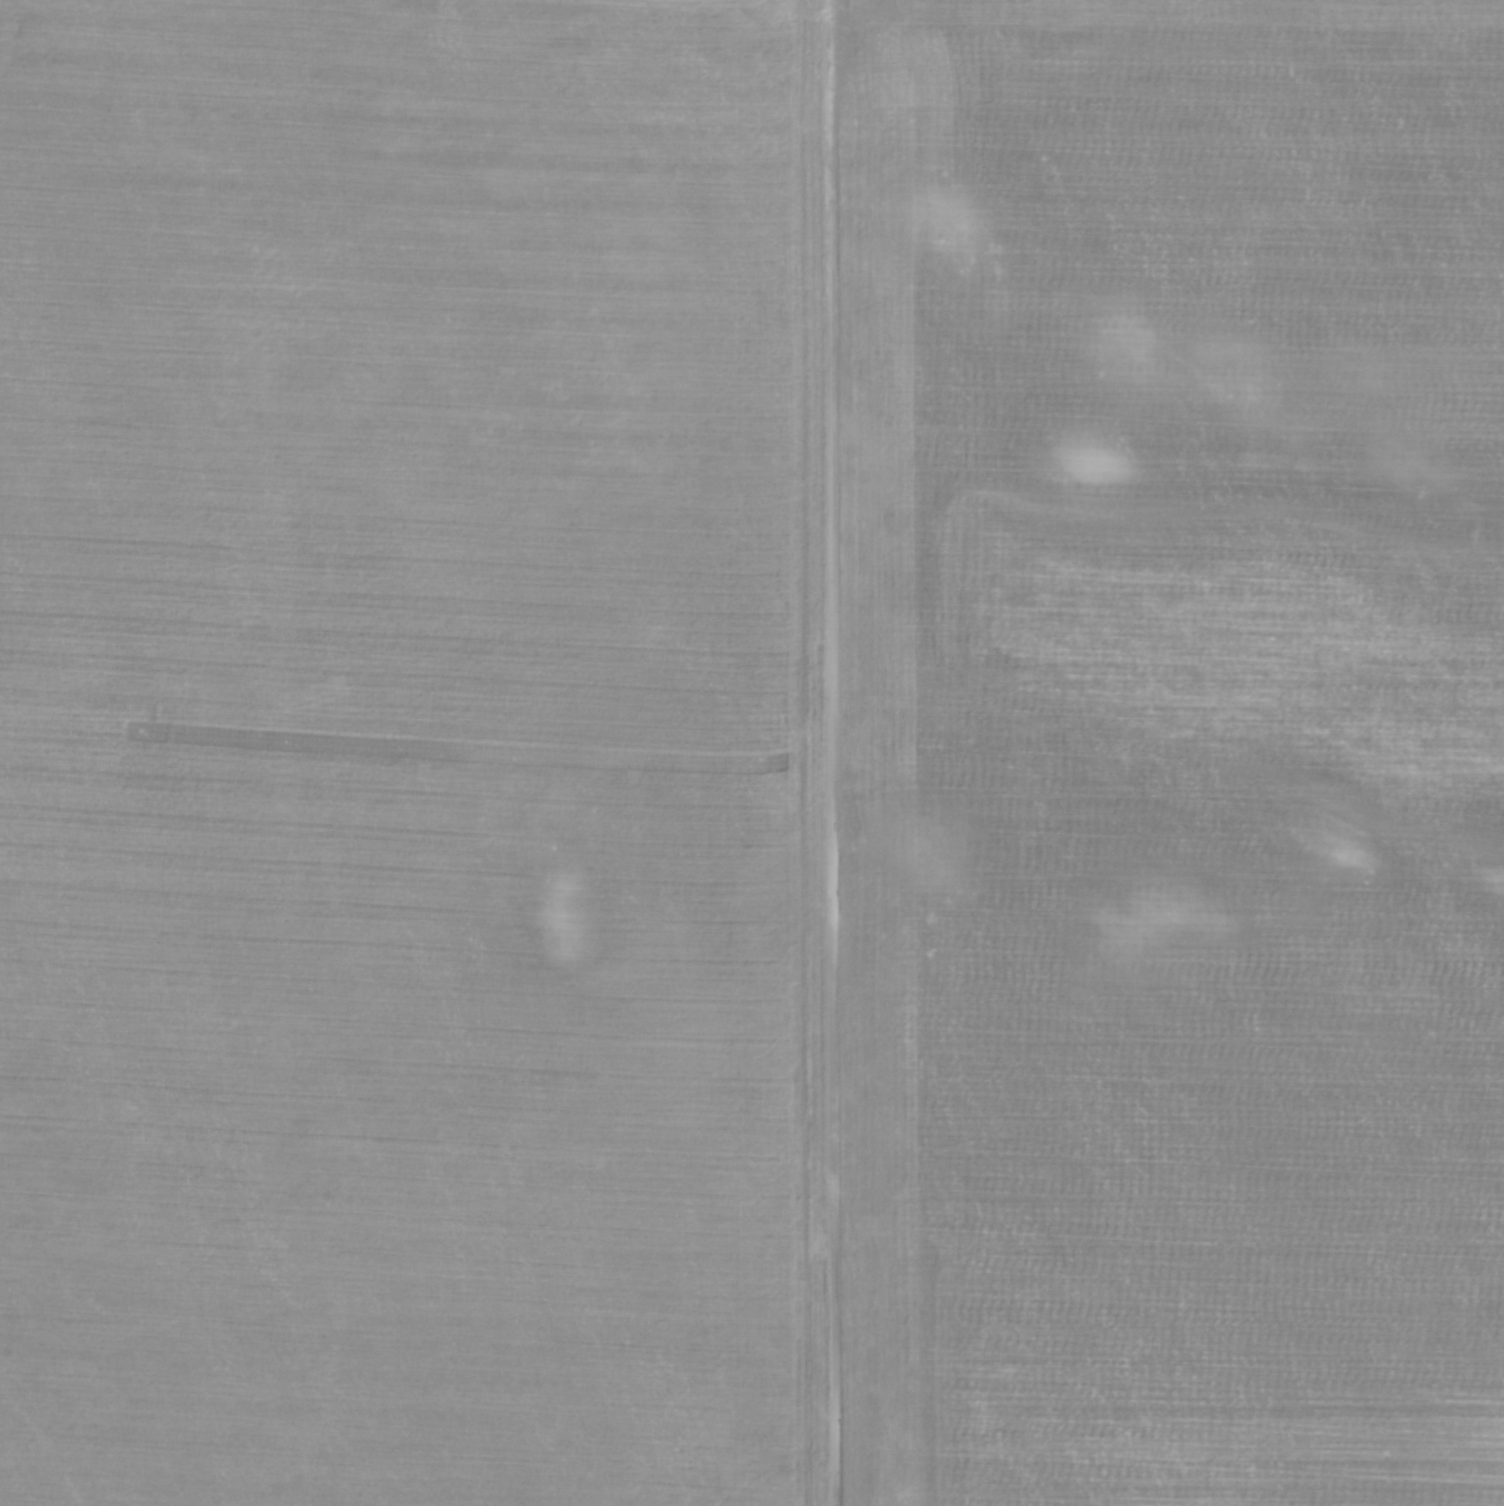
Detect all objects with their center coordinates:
crop: (752, 753)

